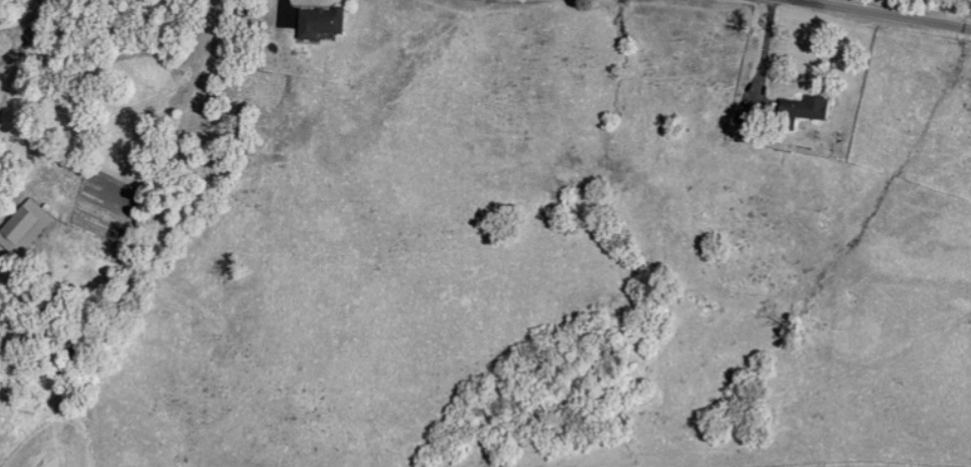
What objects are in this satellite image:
road: (883, 14)
road: (281, 16)
building: (317, 22)
building: (798, 110)
building: (21, 227)

